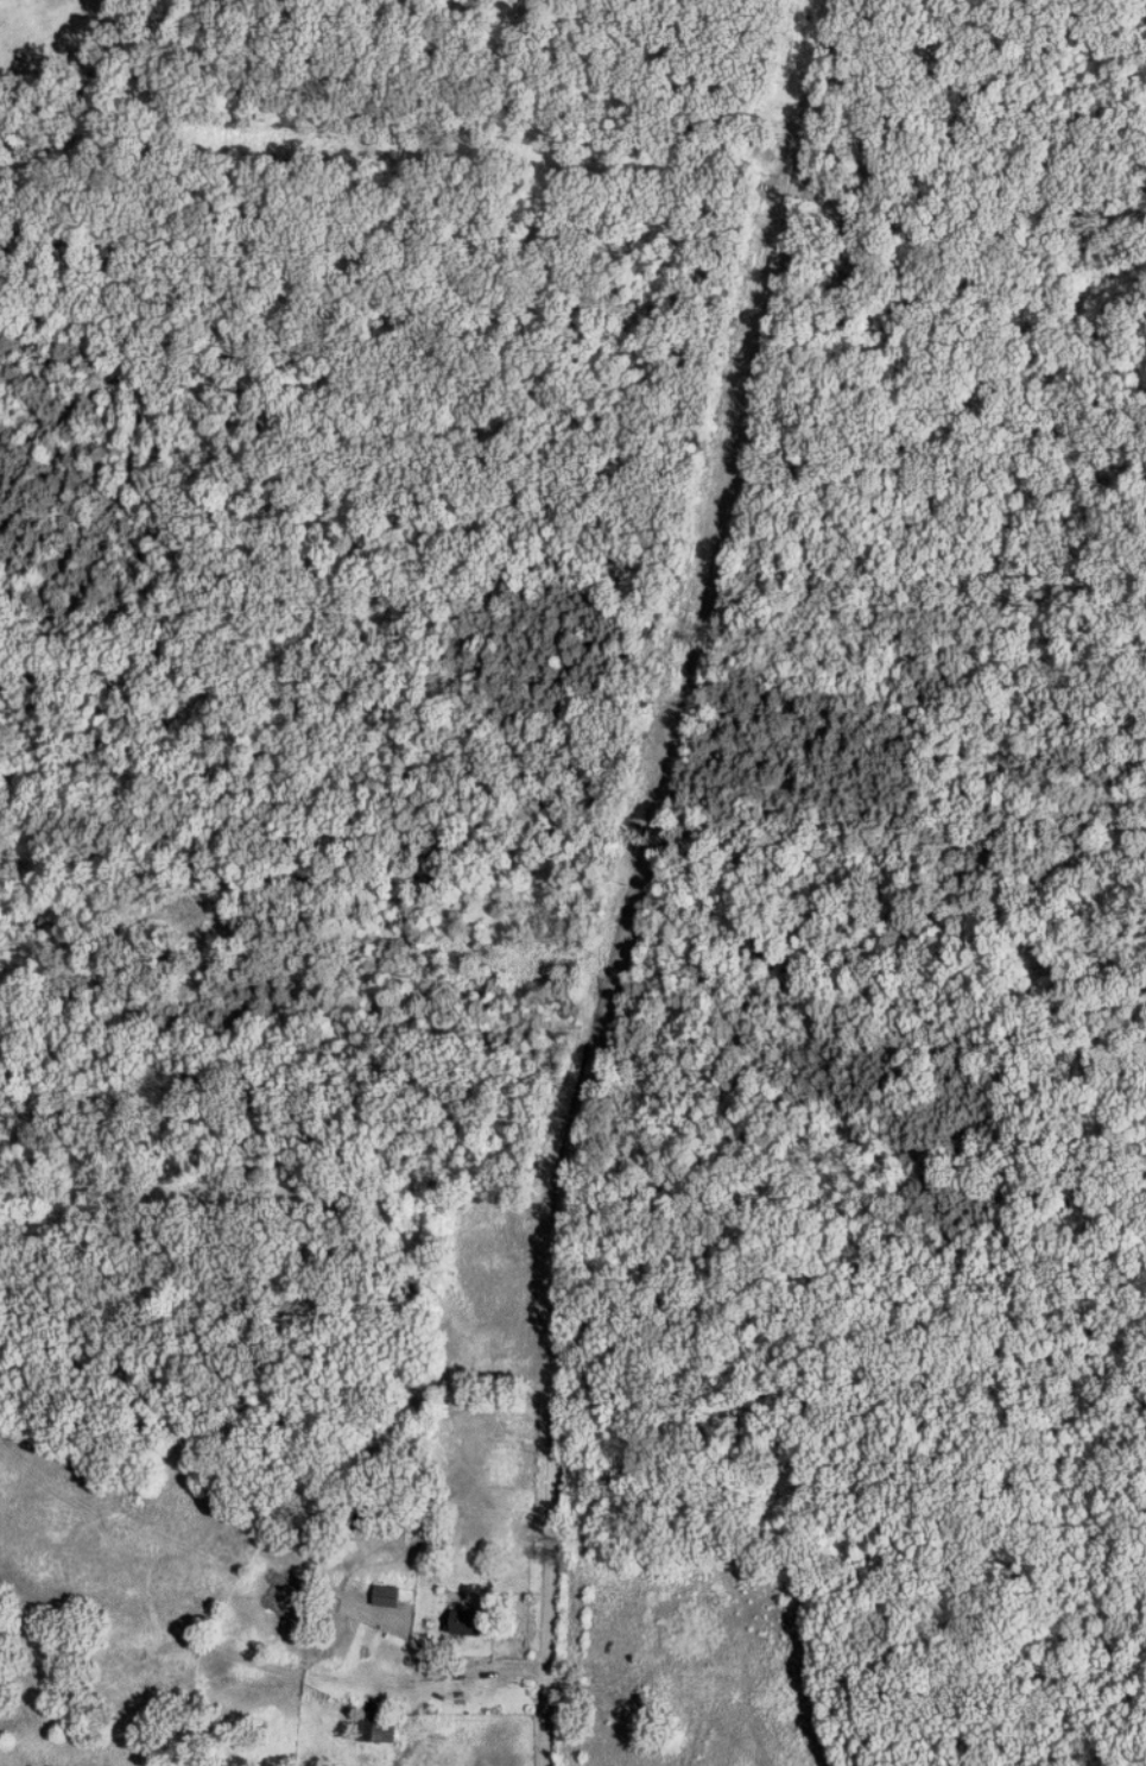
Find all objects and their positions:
road: (641, 872)
building: (388, 1595)
building: (471, 1621)
building: (373, 1727)

